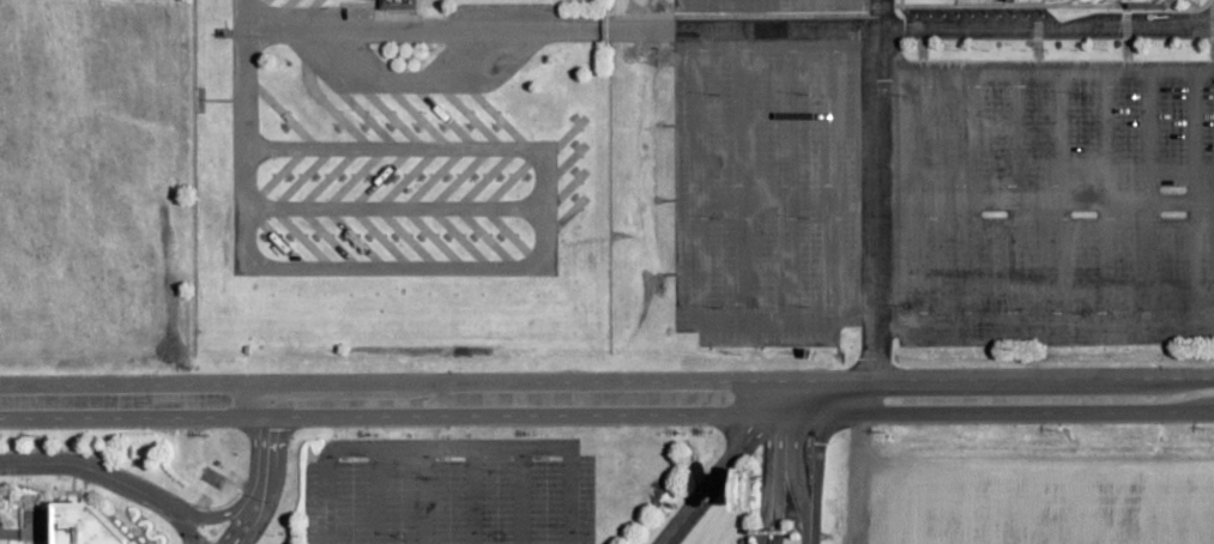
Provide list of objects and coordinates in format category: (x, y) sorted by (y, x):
building: (989, 4)
building: (407, 5)
road: (877, 14)
road: (727, 30)
road: (242, 74)
road: (1045, 200)
road: (875, 219)
road: (393, 242)
road: (543, 336)
road: (606, 380)
road: (606, 413)
road: (821, 447)
road: (792, 449)
road: (771, 460)
road: (726, 461)
road: (266, 467)
road: (109, 477)
road: (520, 496)
building: (78, 525)
road: (810, 530)

